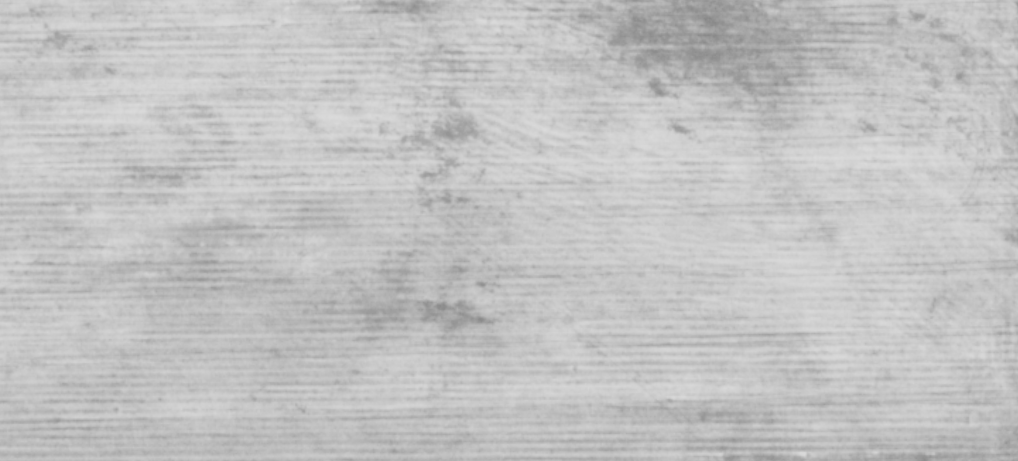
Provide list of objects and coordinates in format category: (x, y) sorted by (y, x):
crop: (509, 230)

